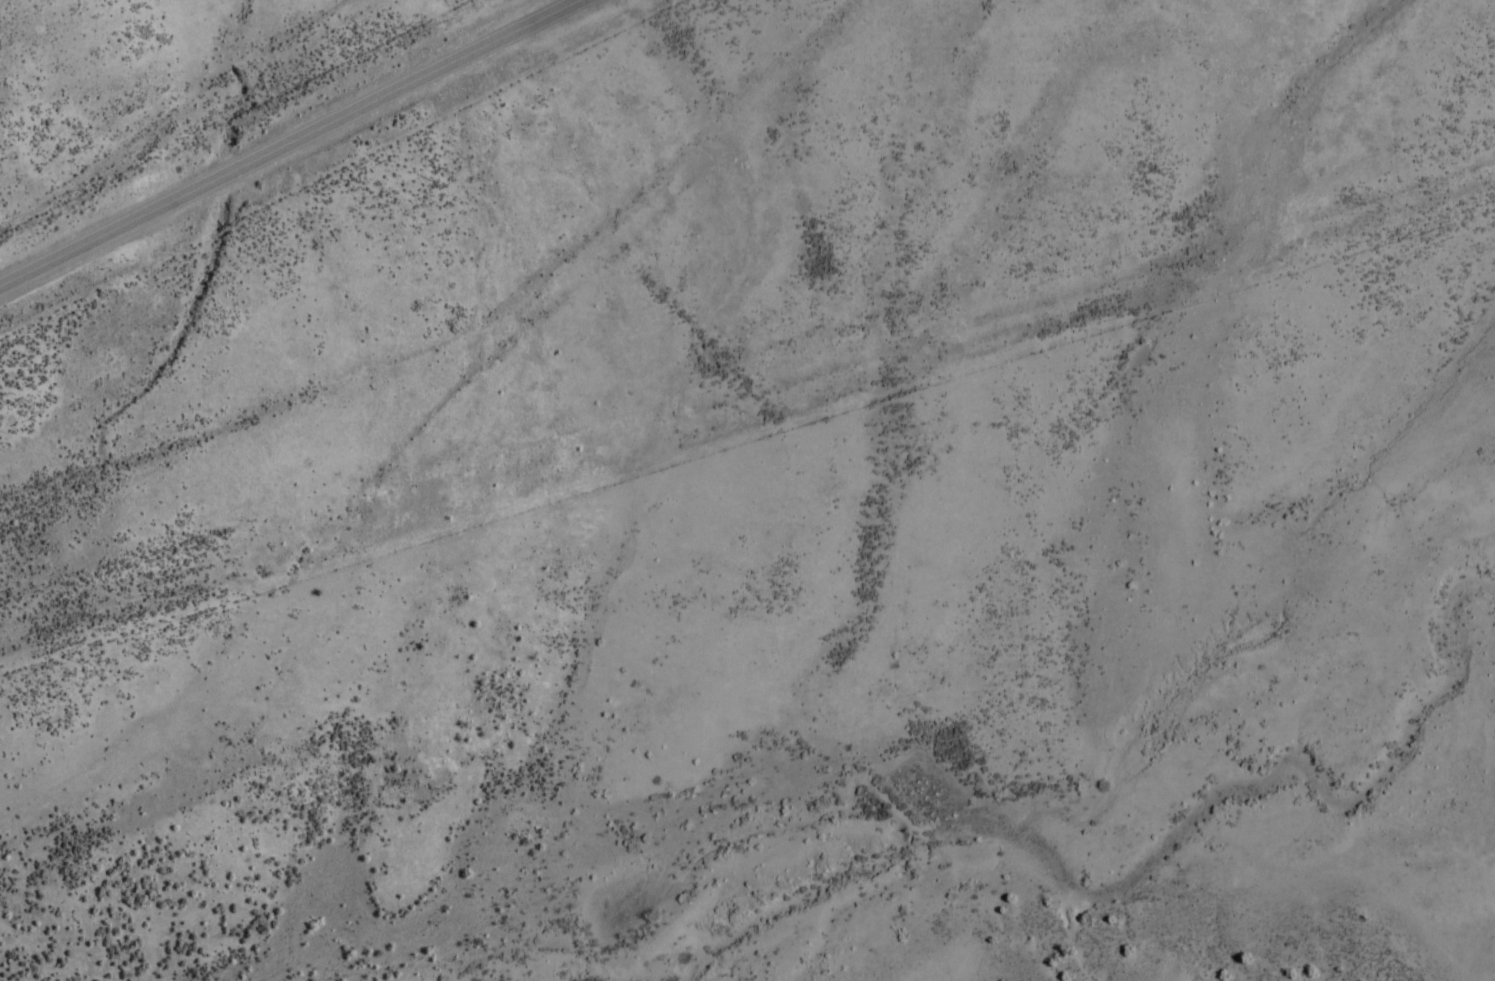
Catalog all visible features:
road: (286, 142)
airport runway: (747, 401)

